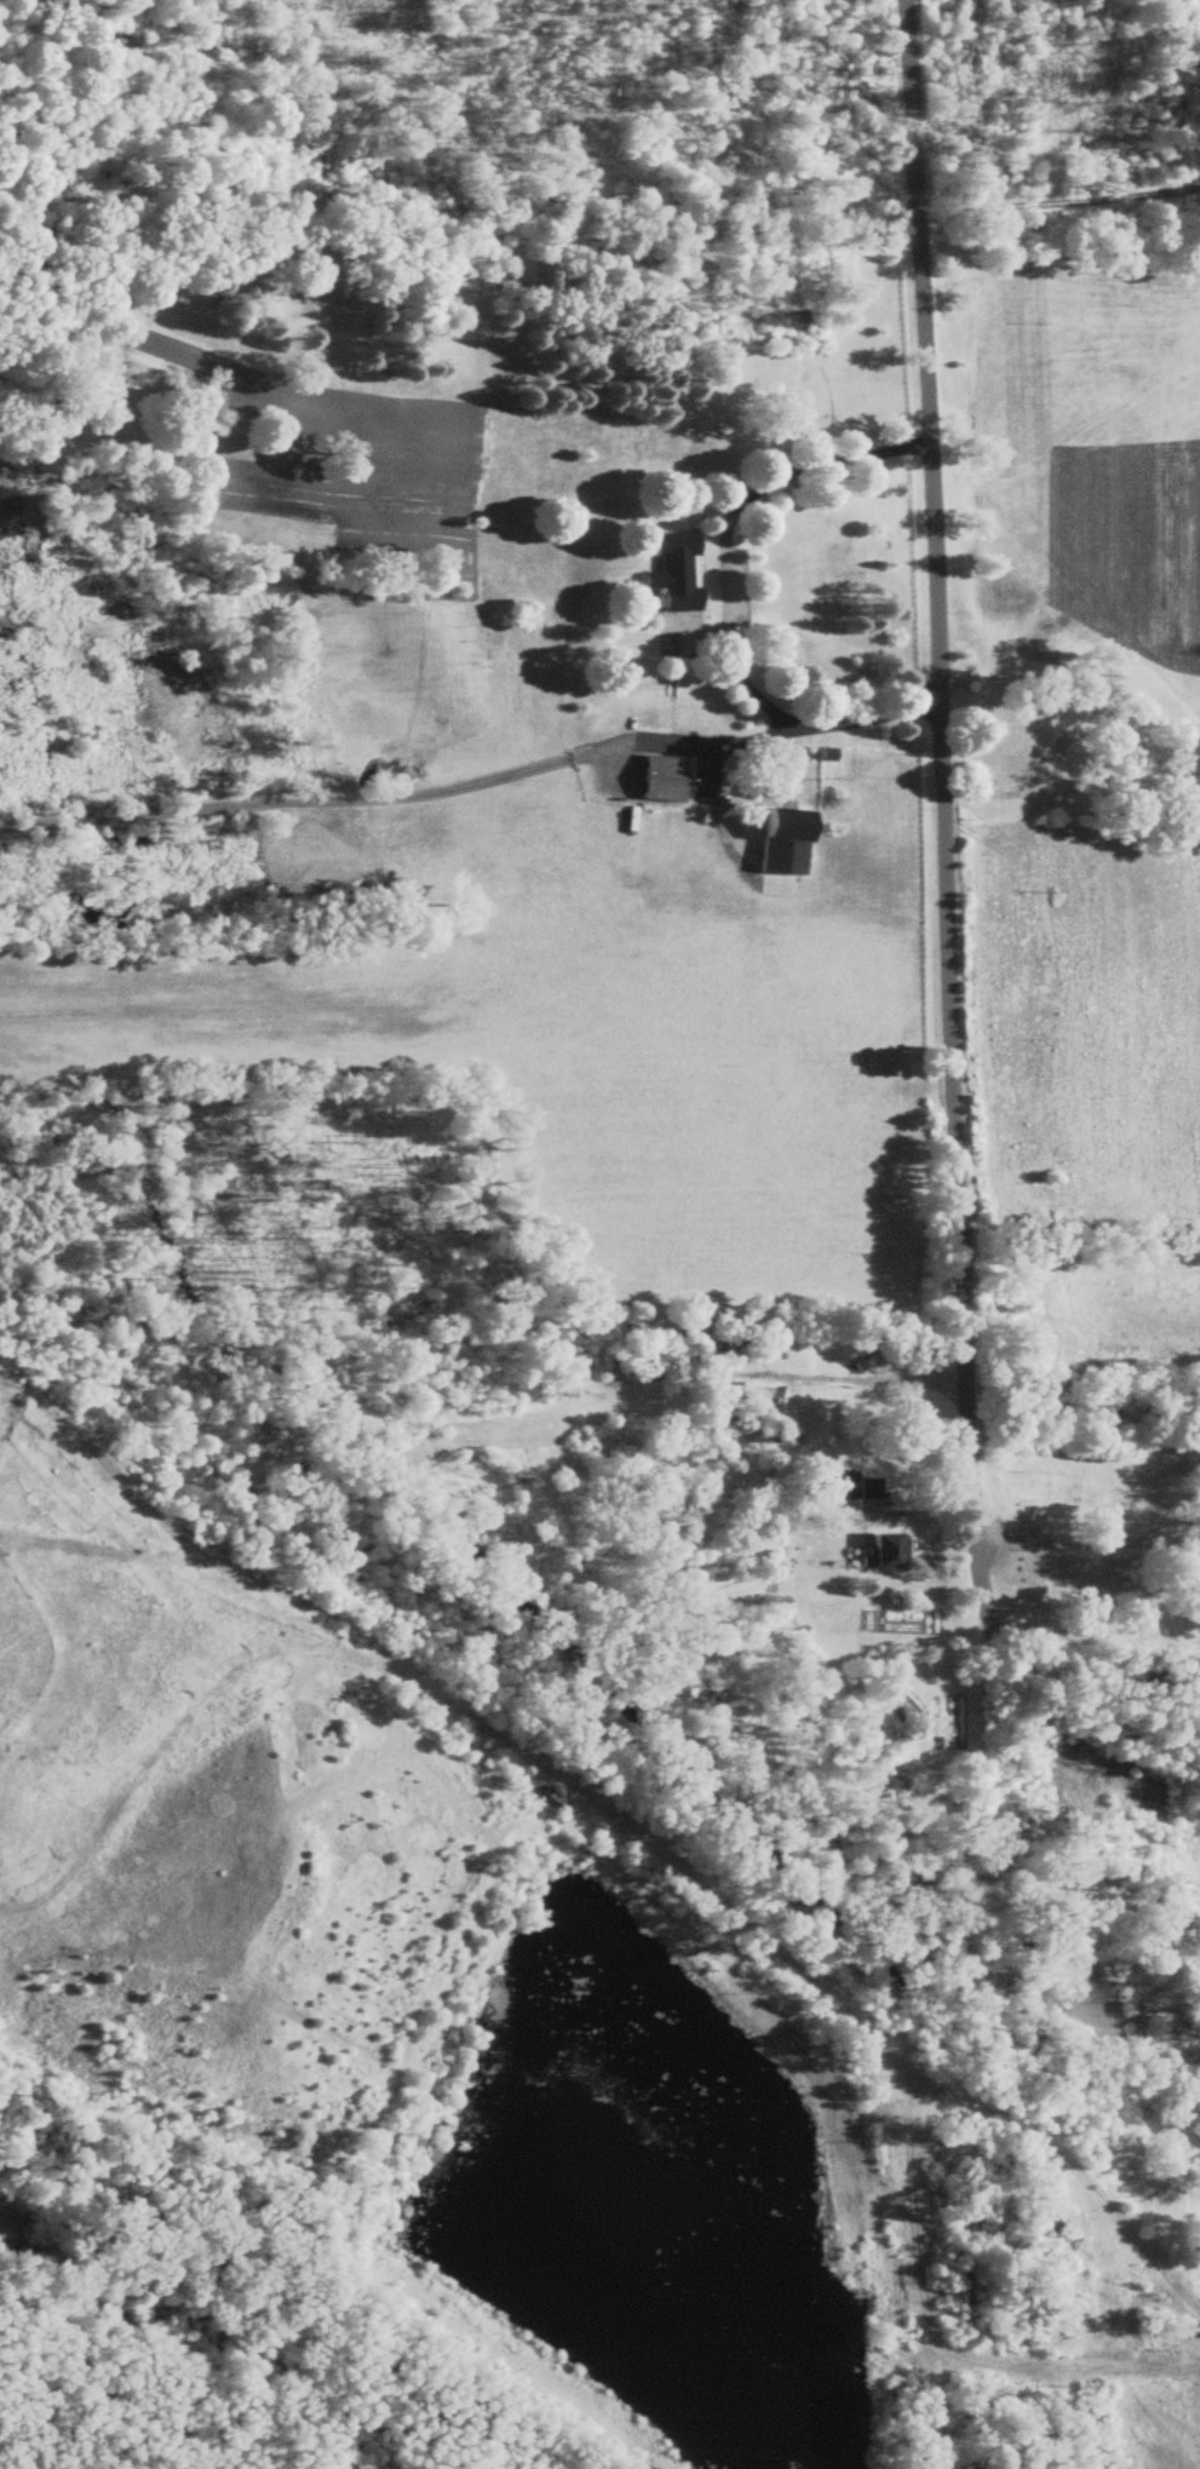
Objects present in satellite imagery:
road: (1057, 202)
road: (723, 529)
building: (670, 573)
building: (659, 781)
road: (472, 783)
road: (725, 837)
building: (779, 843)
airport runway: (429, 995)
road: (959, 1234)
building: (822, 1480)
building: (845, 1491)
building: (867, 1491)
road: (1066, 1544)
building: (1196, 1546)
building: (879, 1555)
building: (1198, 1578)
road: (1057, 1633)
road: (496, 1671)
road: (897, 2123)
road: (1104, 2368)

